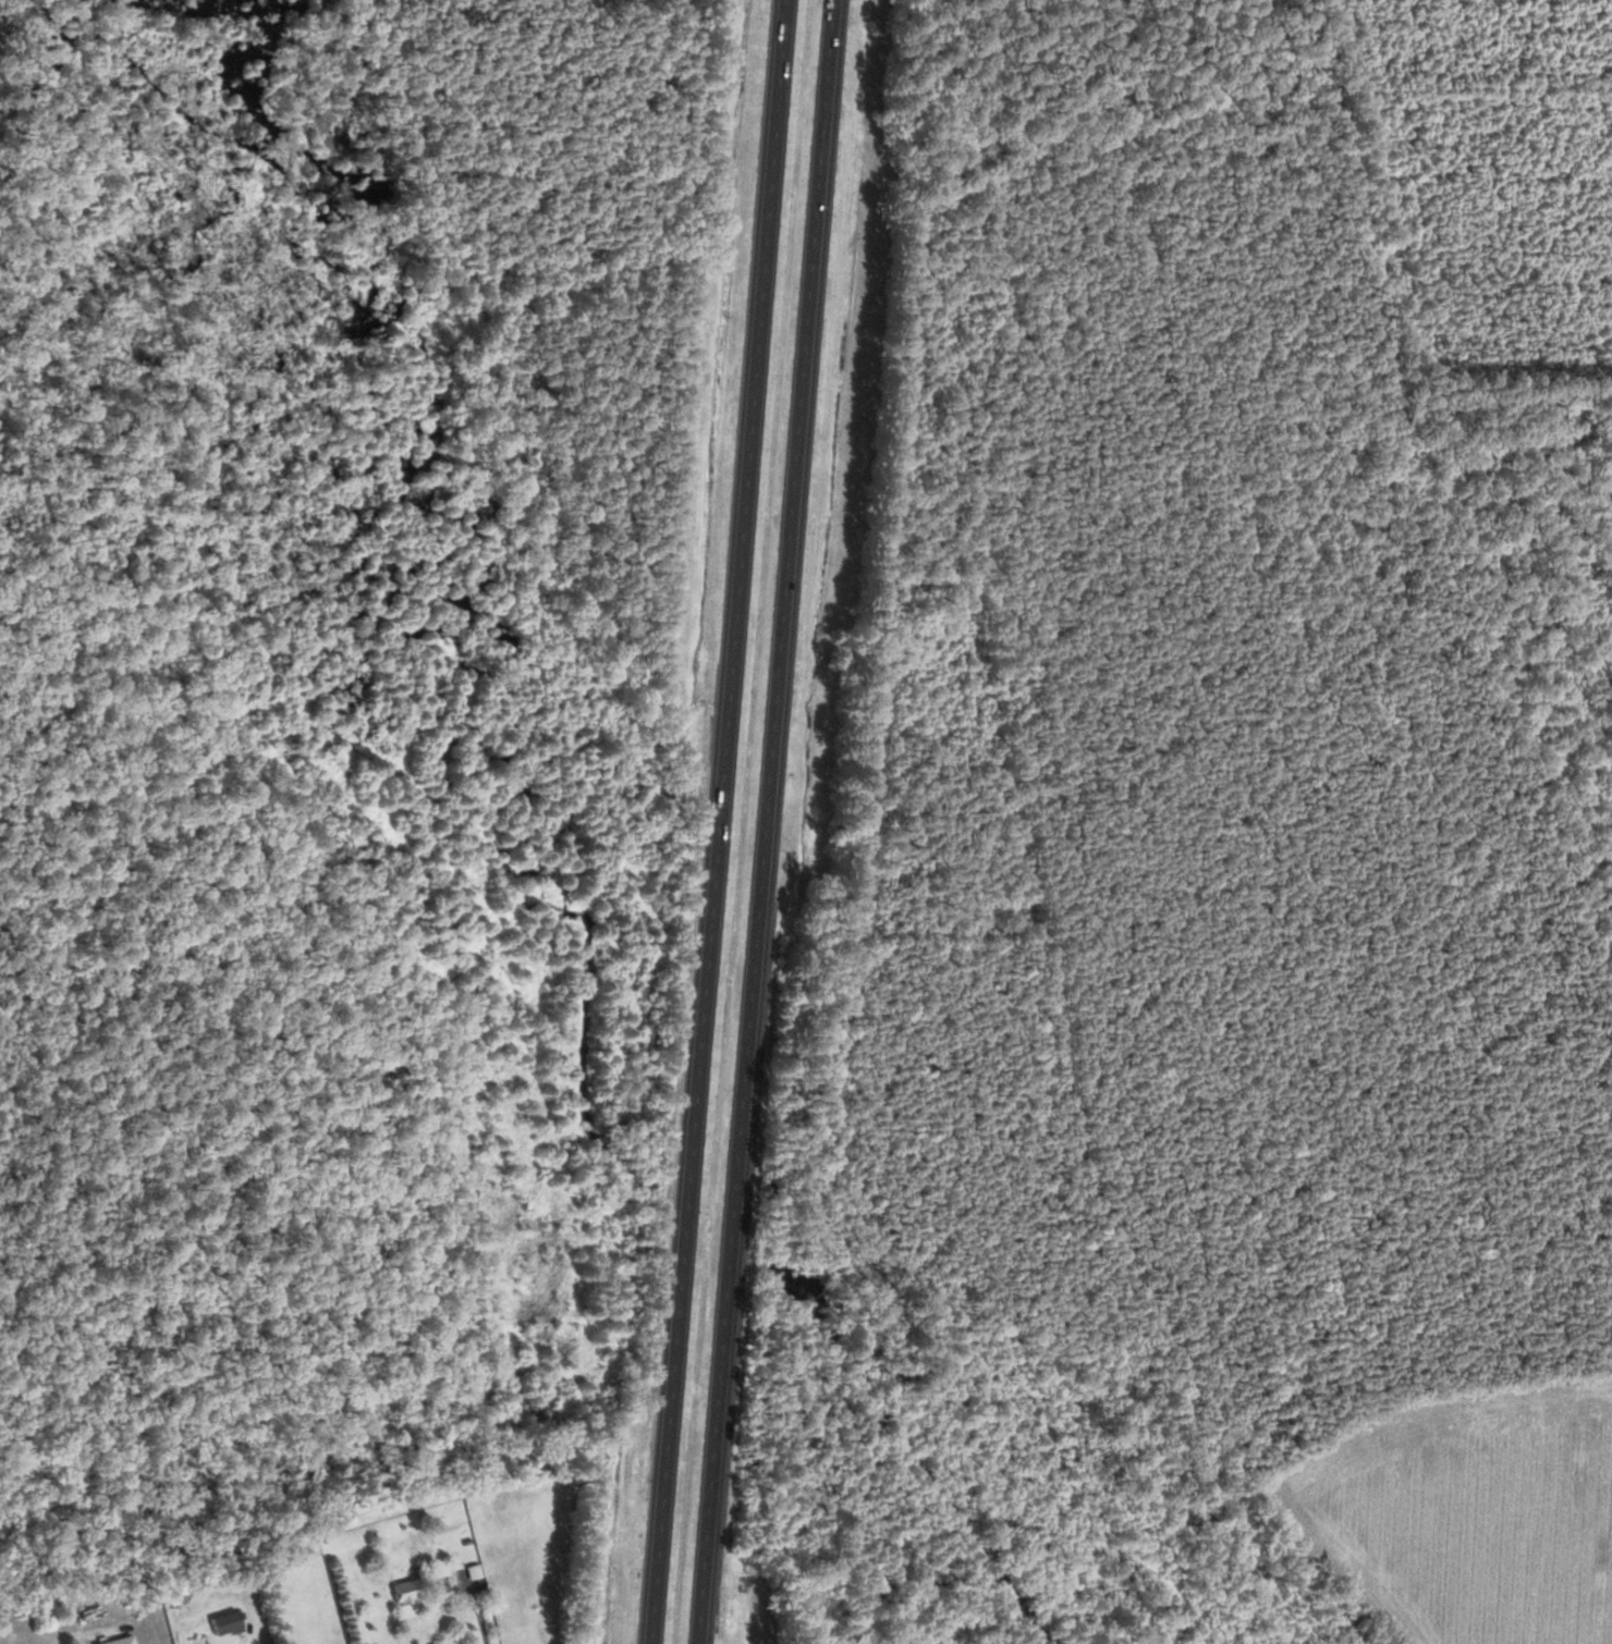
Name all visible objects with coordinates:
road: (766, 821)
road: (720, 822)
building: (404, 1591)
road: (481, 1616)
building: (221, 1623)

